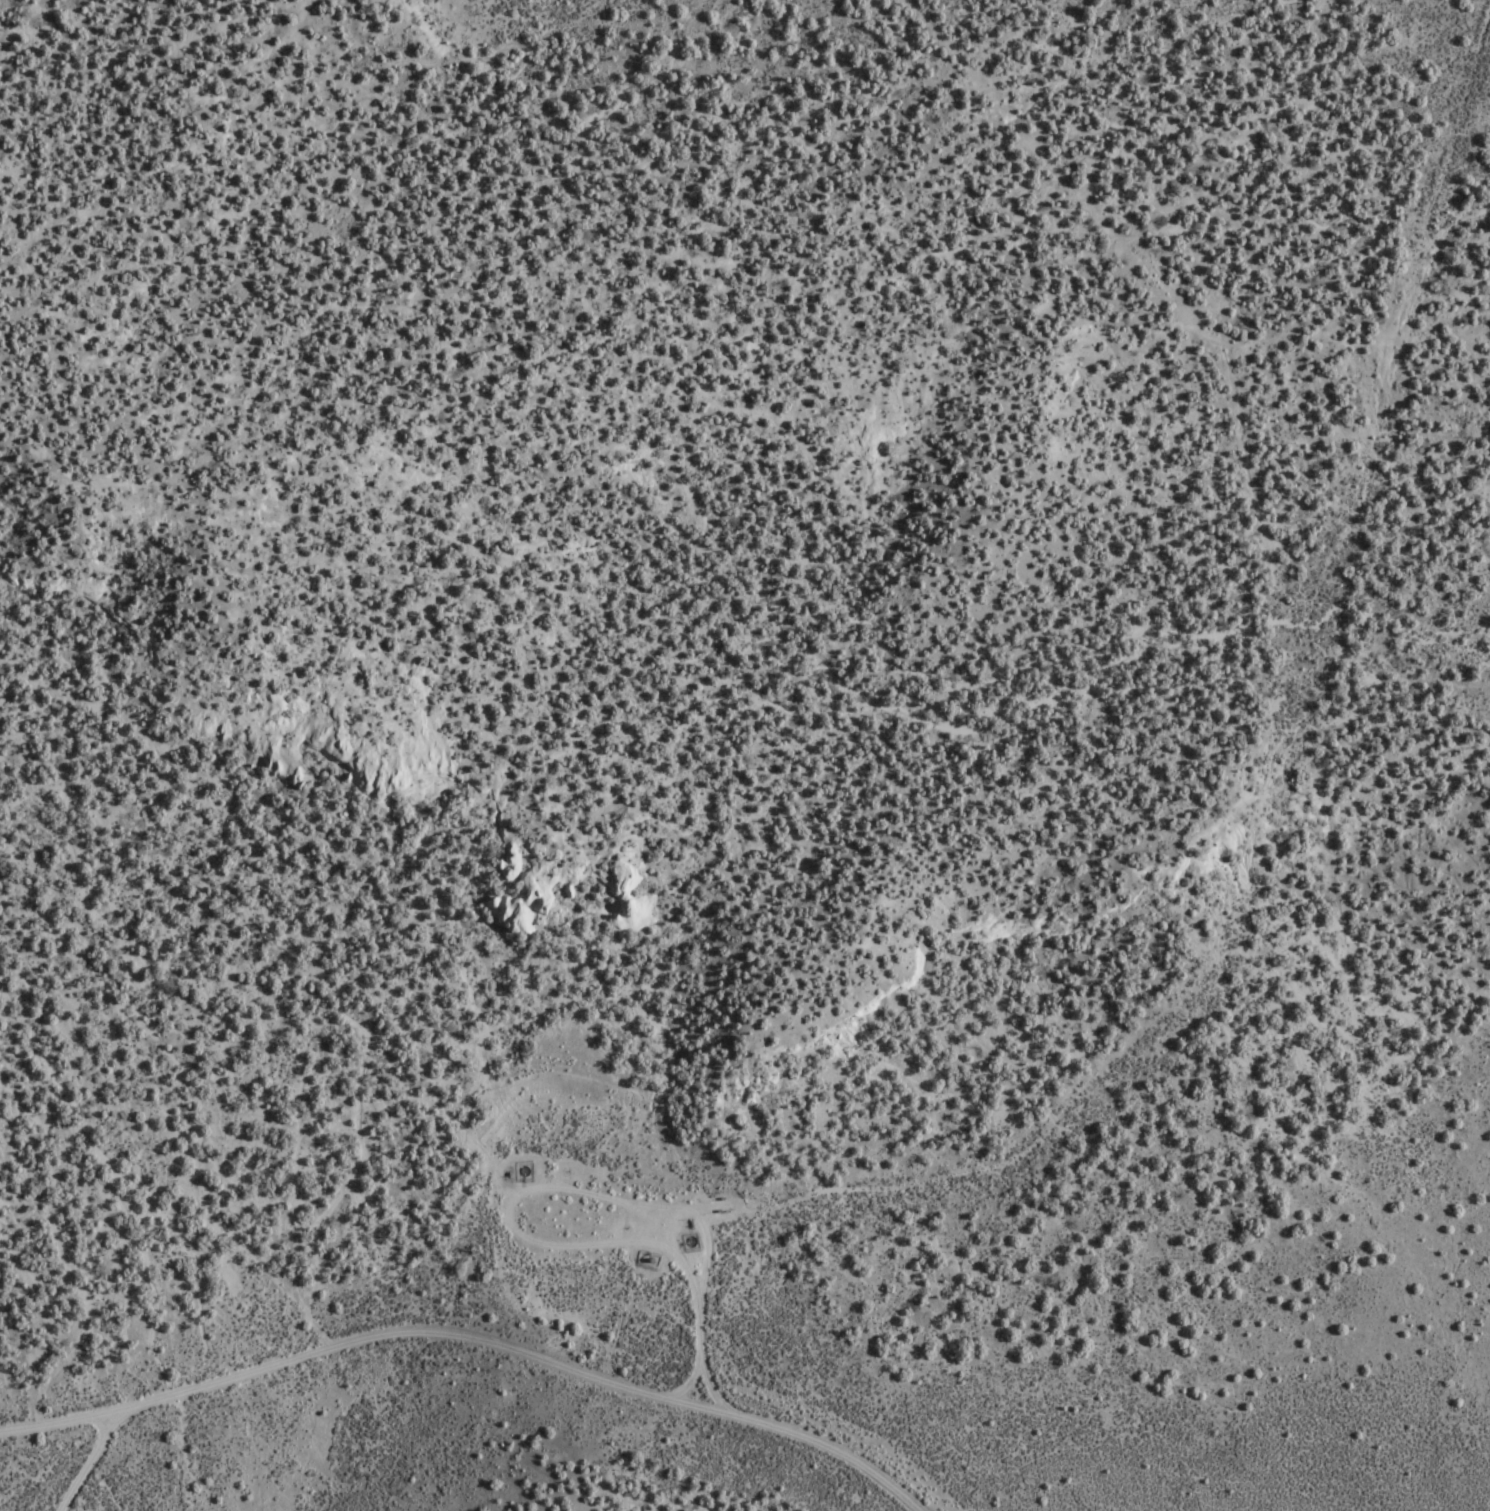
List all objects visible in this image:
road: (1487, 0)
road: (344, 1312)
road: (733, 1407)

